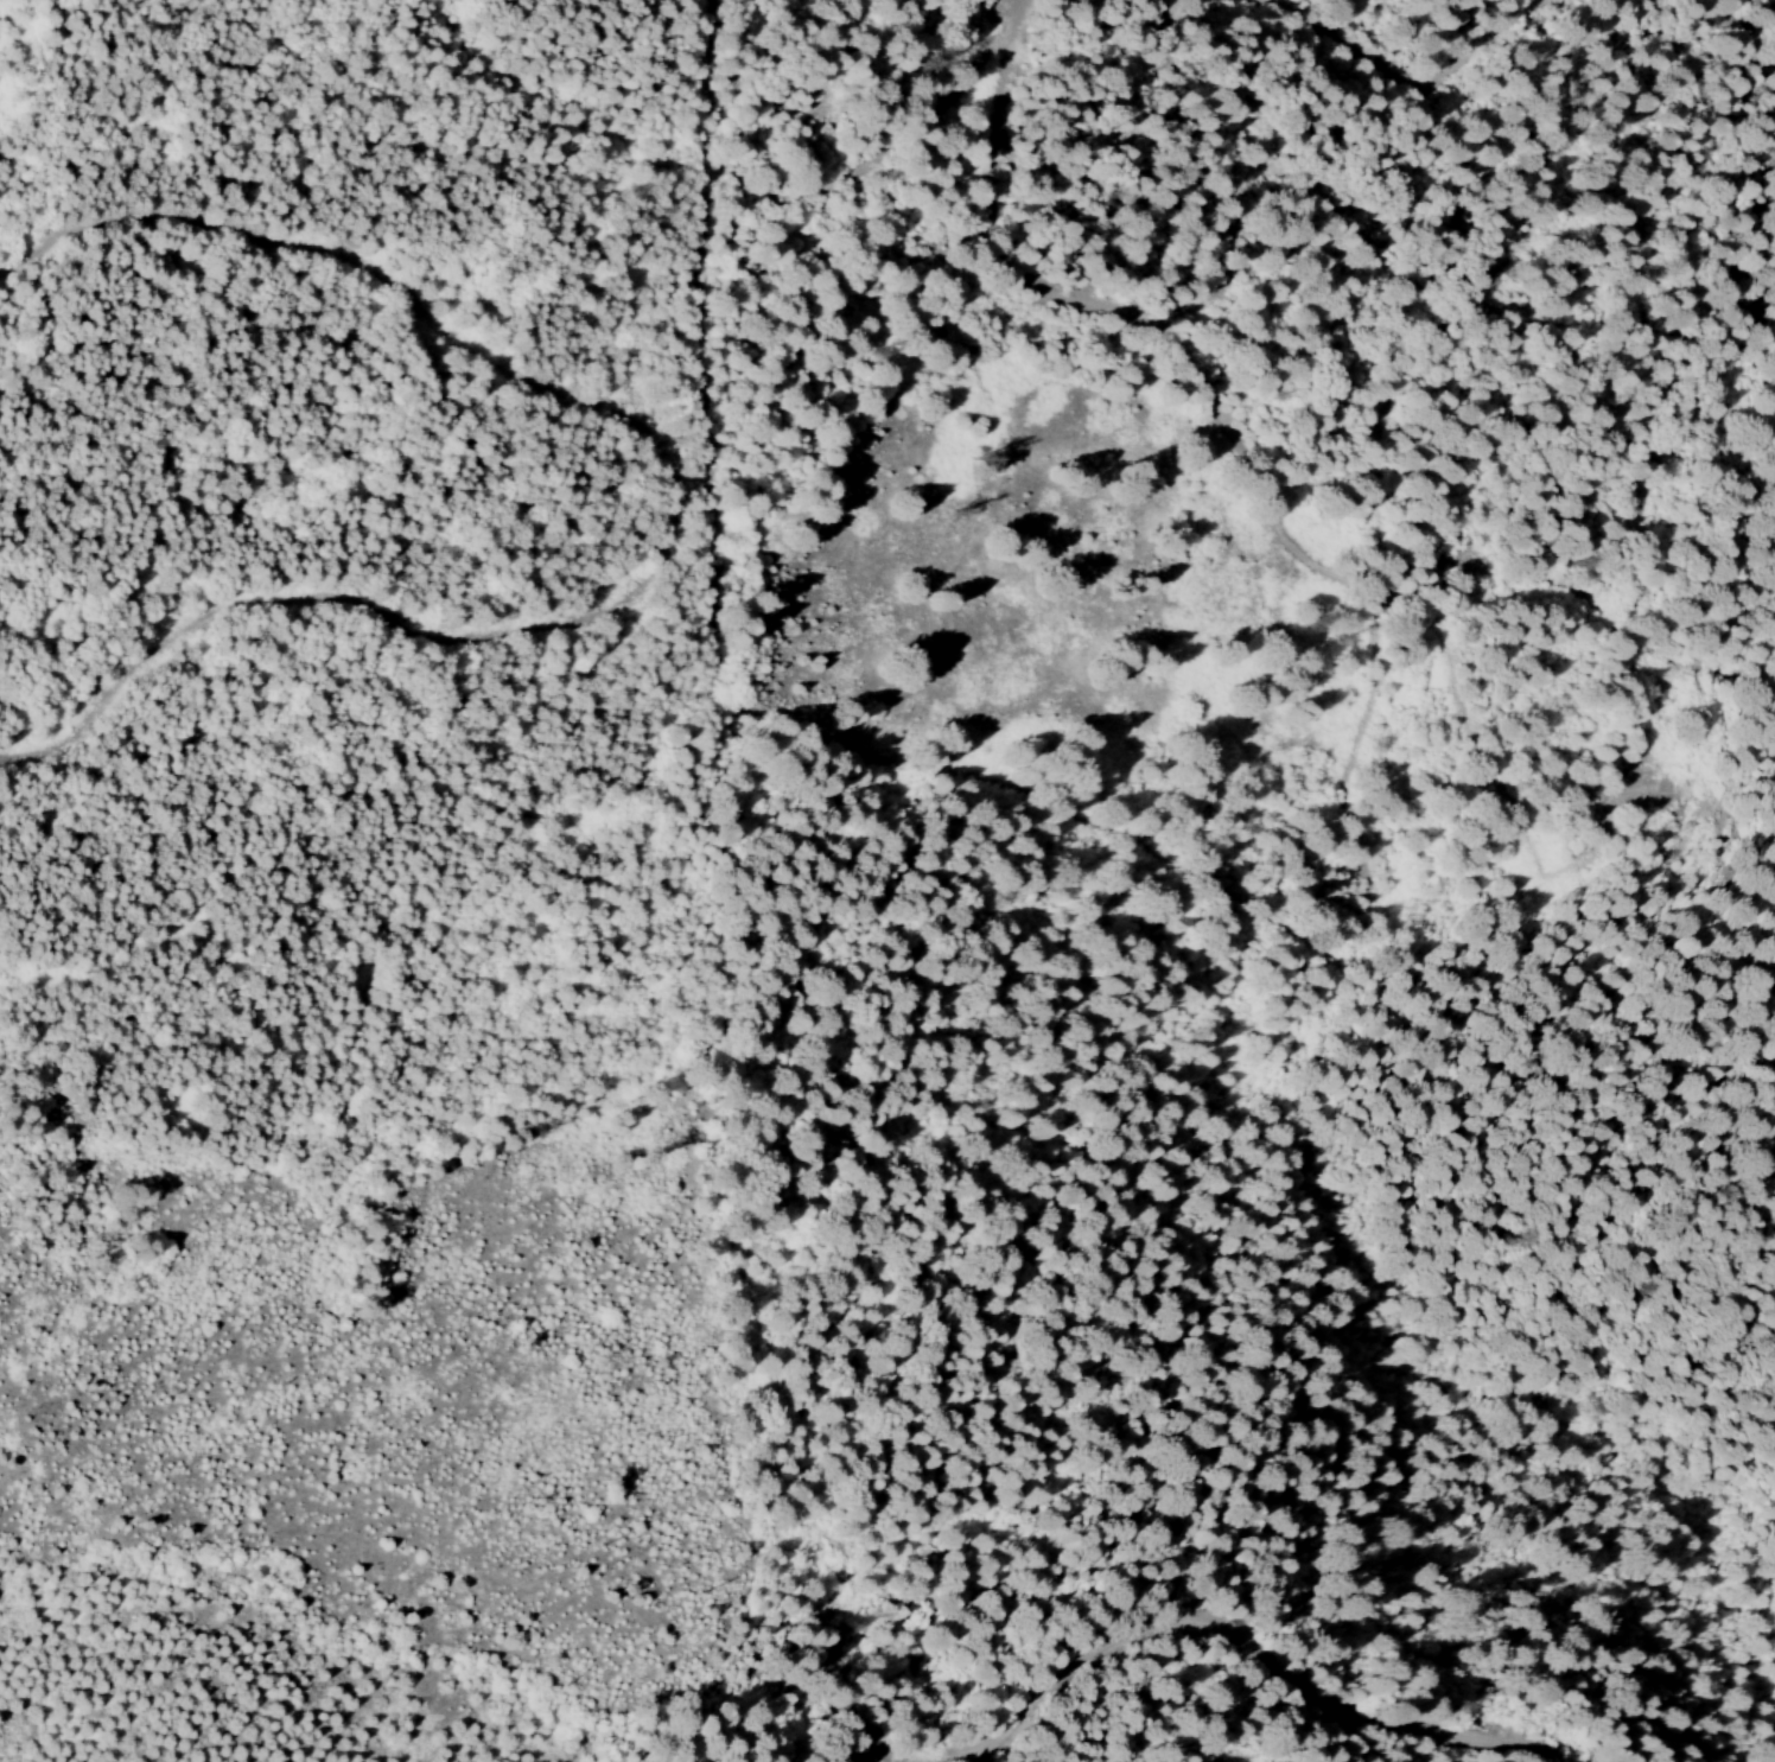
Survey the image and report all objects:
road: (692, 120)
road: (1222, 1643)

